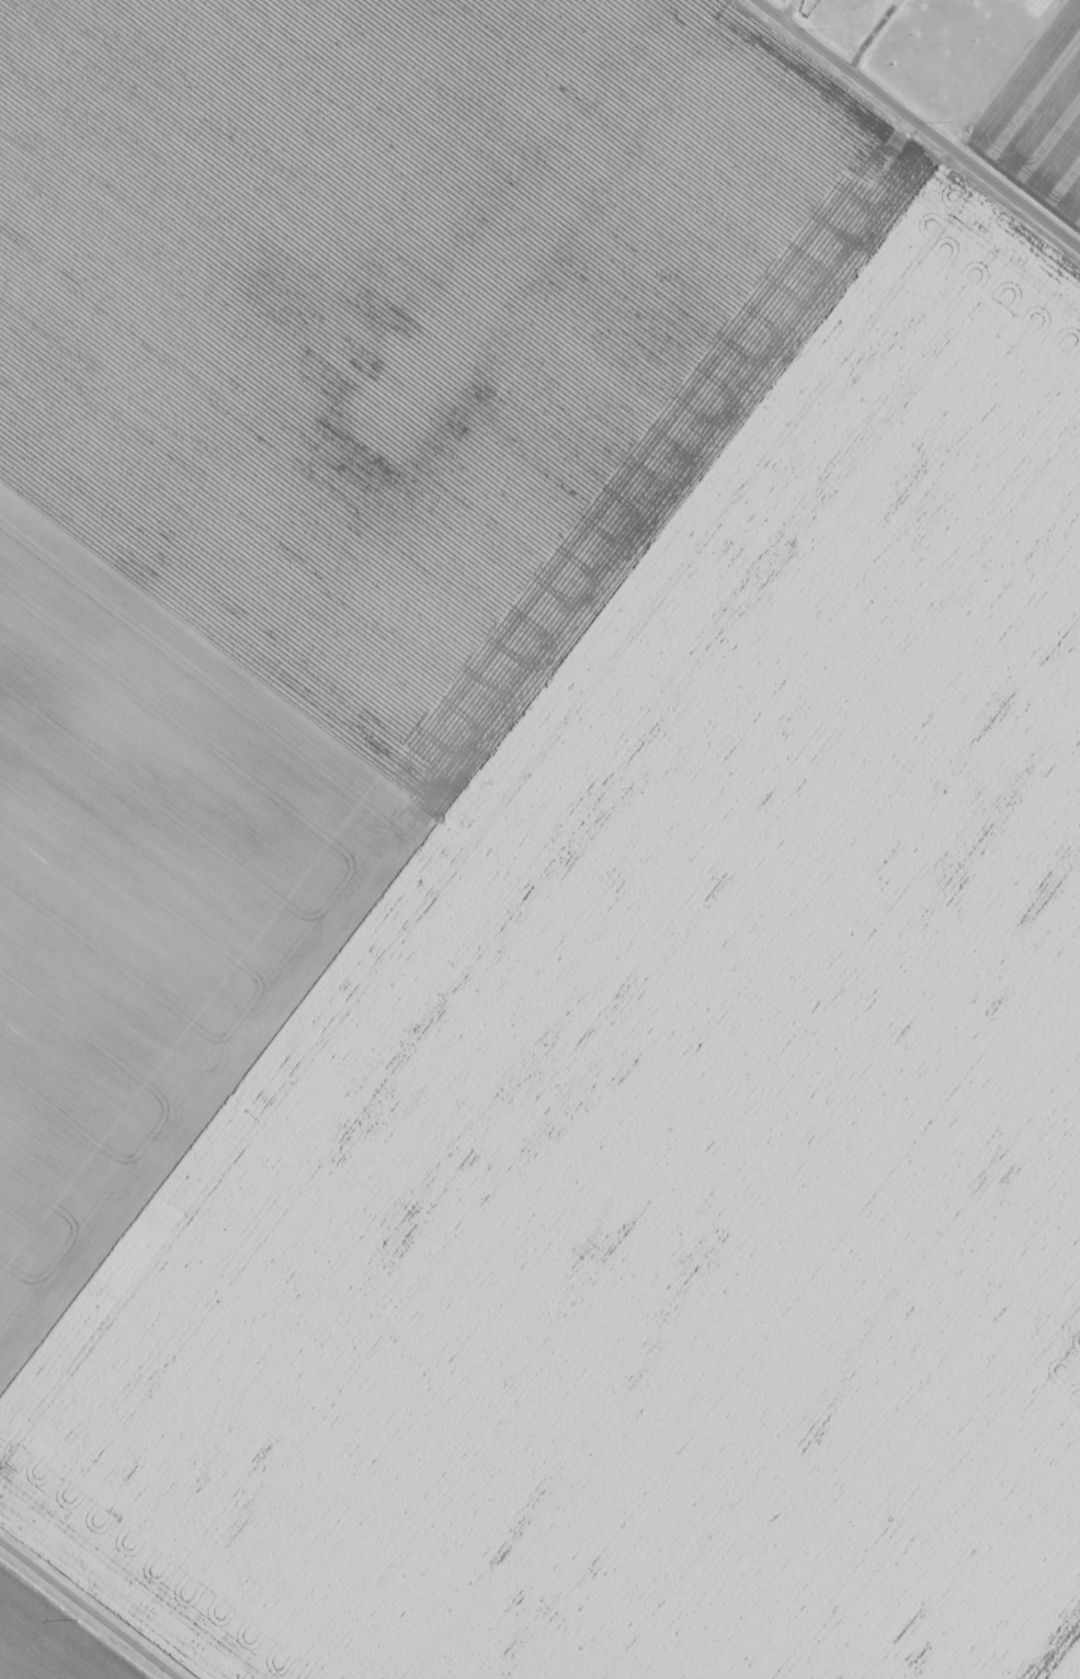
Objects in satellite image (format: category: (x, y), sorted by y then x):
road: (909, 131)
road: (83, 1614)

